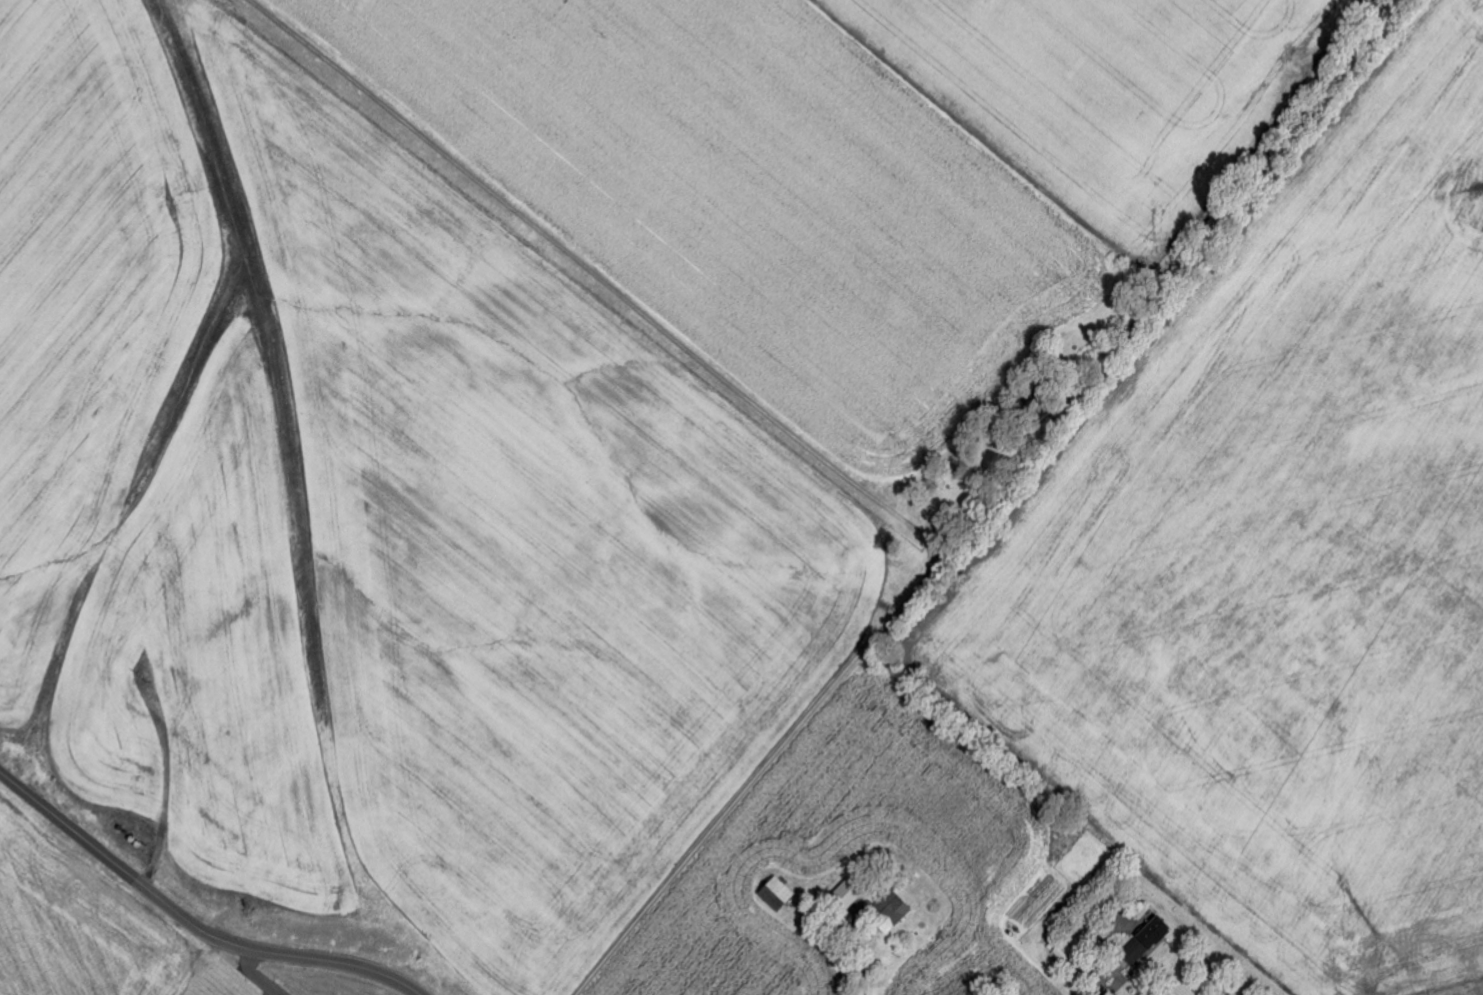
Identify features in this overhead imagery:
road: (788, 434)
building: (779, 895)
building: (849, 896)
building: (893, 912)
road: (196, 922)
building: (1148, 942)

